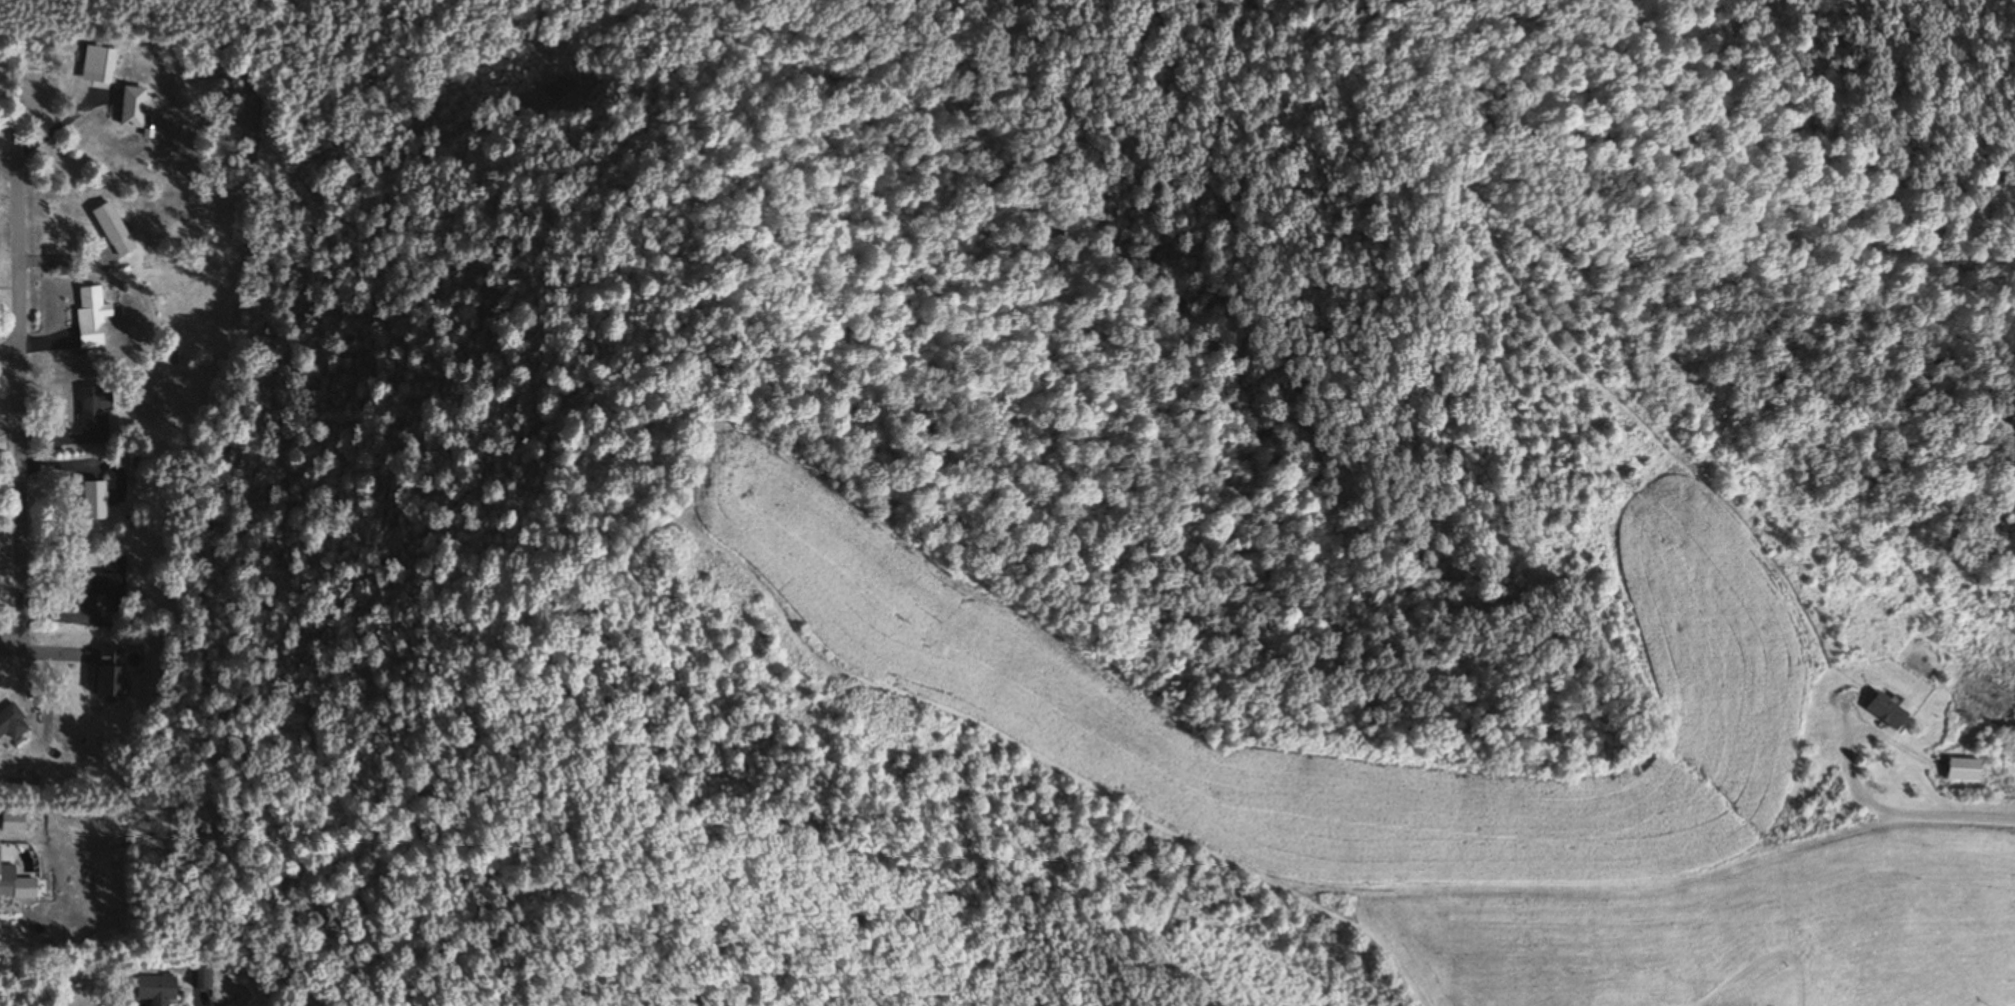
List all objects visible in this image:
building: (105, 63)
building: (559, 89)
building: (133, 100)
road: (8, 163)
building: (114, 228)
building: (91, 316)
road: (8, 348)
road: (17, 405)
building: (95, 411)
building: (94, 501)
building: (108, 583)
road: (11, 648)
building: (110, 673)
building: (1884, 712)
building: (12, 723)
building: (1962, 770)
road: (1891, 805)
building: (7, 881)
building: (201, 978)
building: (156, 989)

